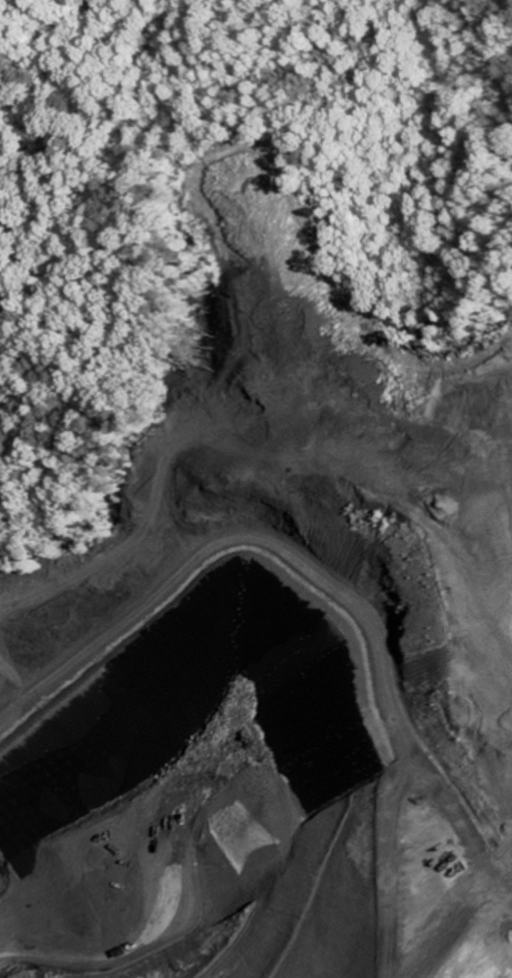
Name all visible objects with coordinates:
road: (306, 581)
landfill: (276, 661)

